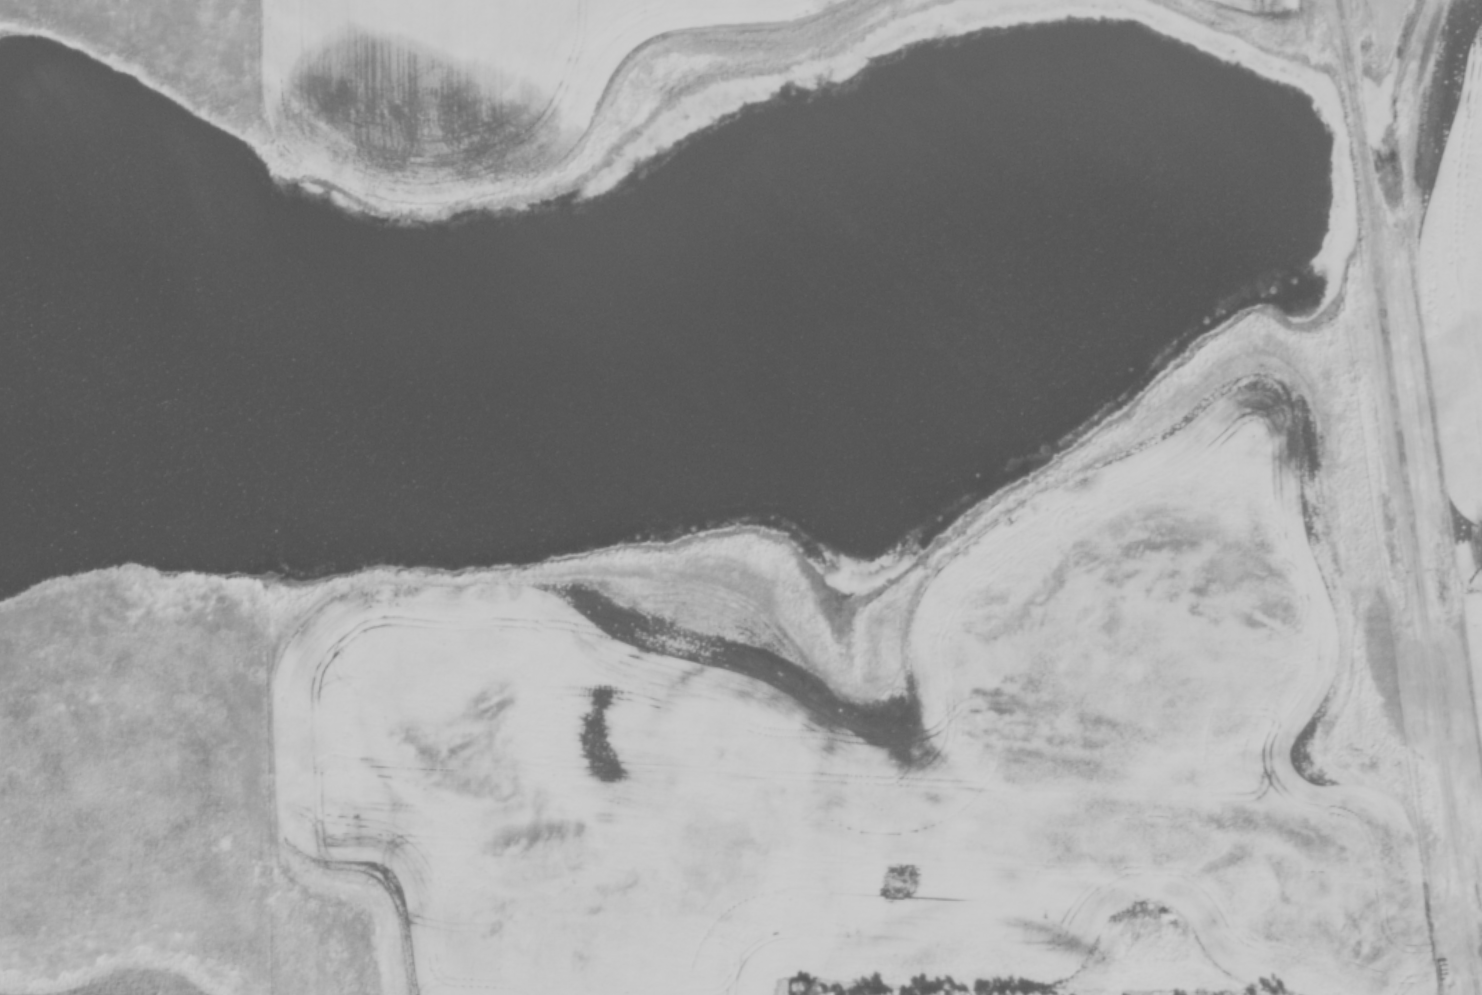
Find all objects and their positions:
building: (1167, 908)

